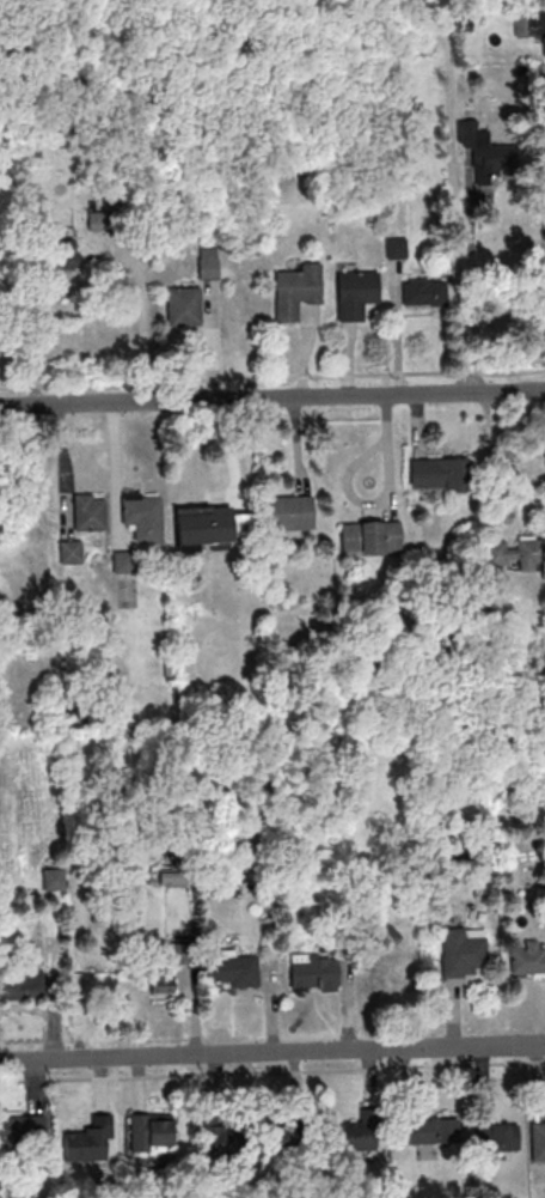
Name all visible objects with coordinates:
building: (544, 41)
building: (490, 141)
building: (66, 254)
building: (208, 267)
building: (298, 291)
building: (424, 292)
building: (355, 294)
building: (0, 305)
building: (183, 305)
road: (271, 396)
road: (489, 455)
building: (440, 473)
building: (90, 511)
building: (287, 513)
building: (142, 516)
building: (204, 524)
building: (371, 537)
building: (72, 551)
building: (518, 553)
building: (124, 561)
building: (464, 951)
building: (528, 960)
building: (233, 969)
building: (314, 974)
building: (380, 974)
building: (161, 978)
building: (22, 984)
road: (271, 1051)
building: (23, 1130)
building: (428, 1131)
building: (152, 1135)
building: (355, 1136)
building: (497, 1136)
building: (220, 1137)
building: (287, 1139)
building: (90, 1141)
building: (538, 1142)

